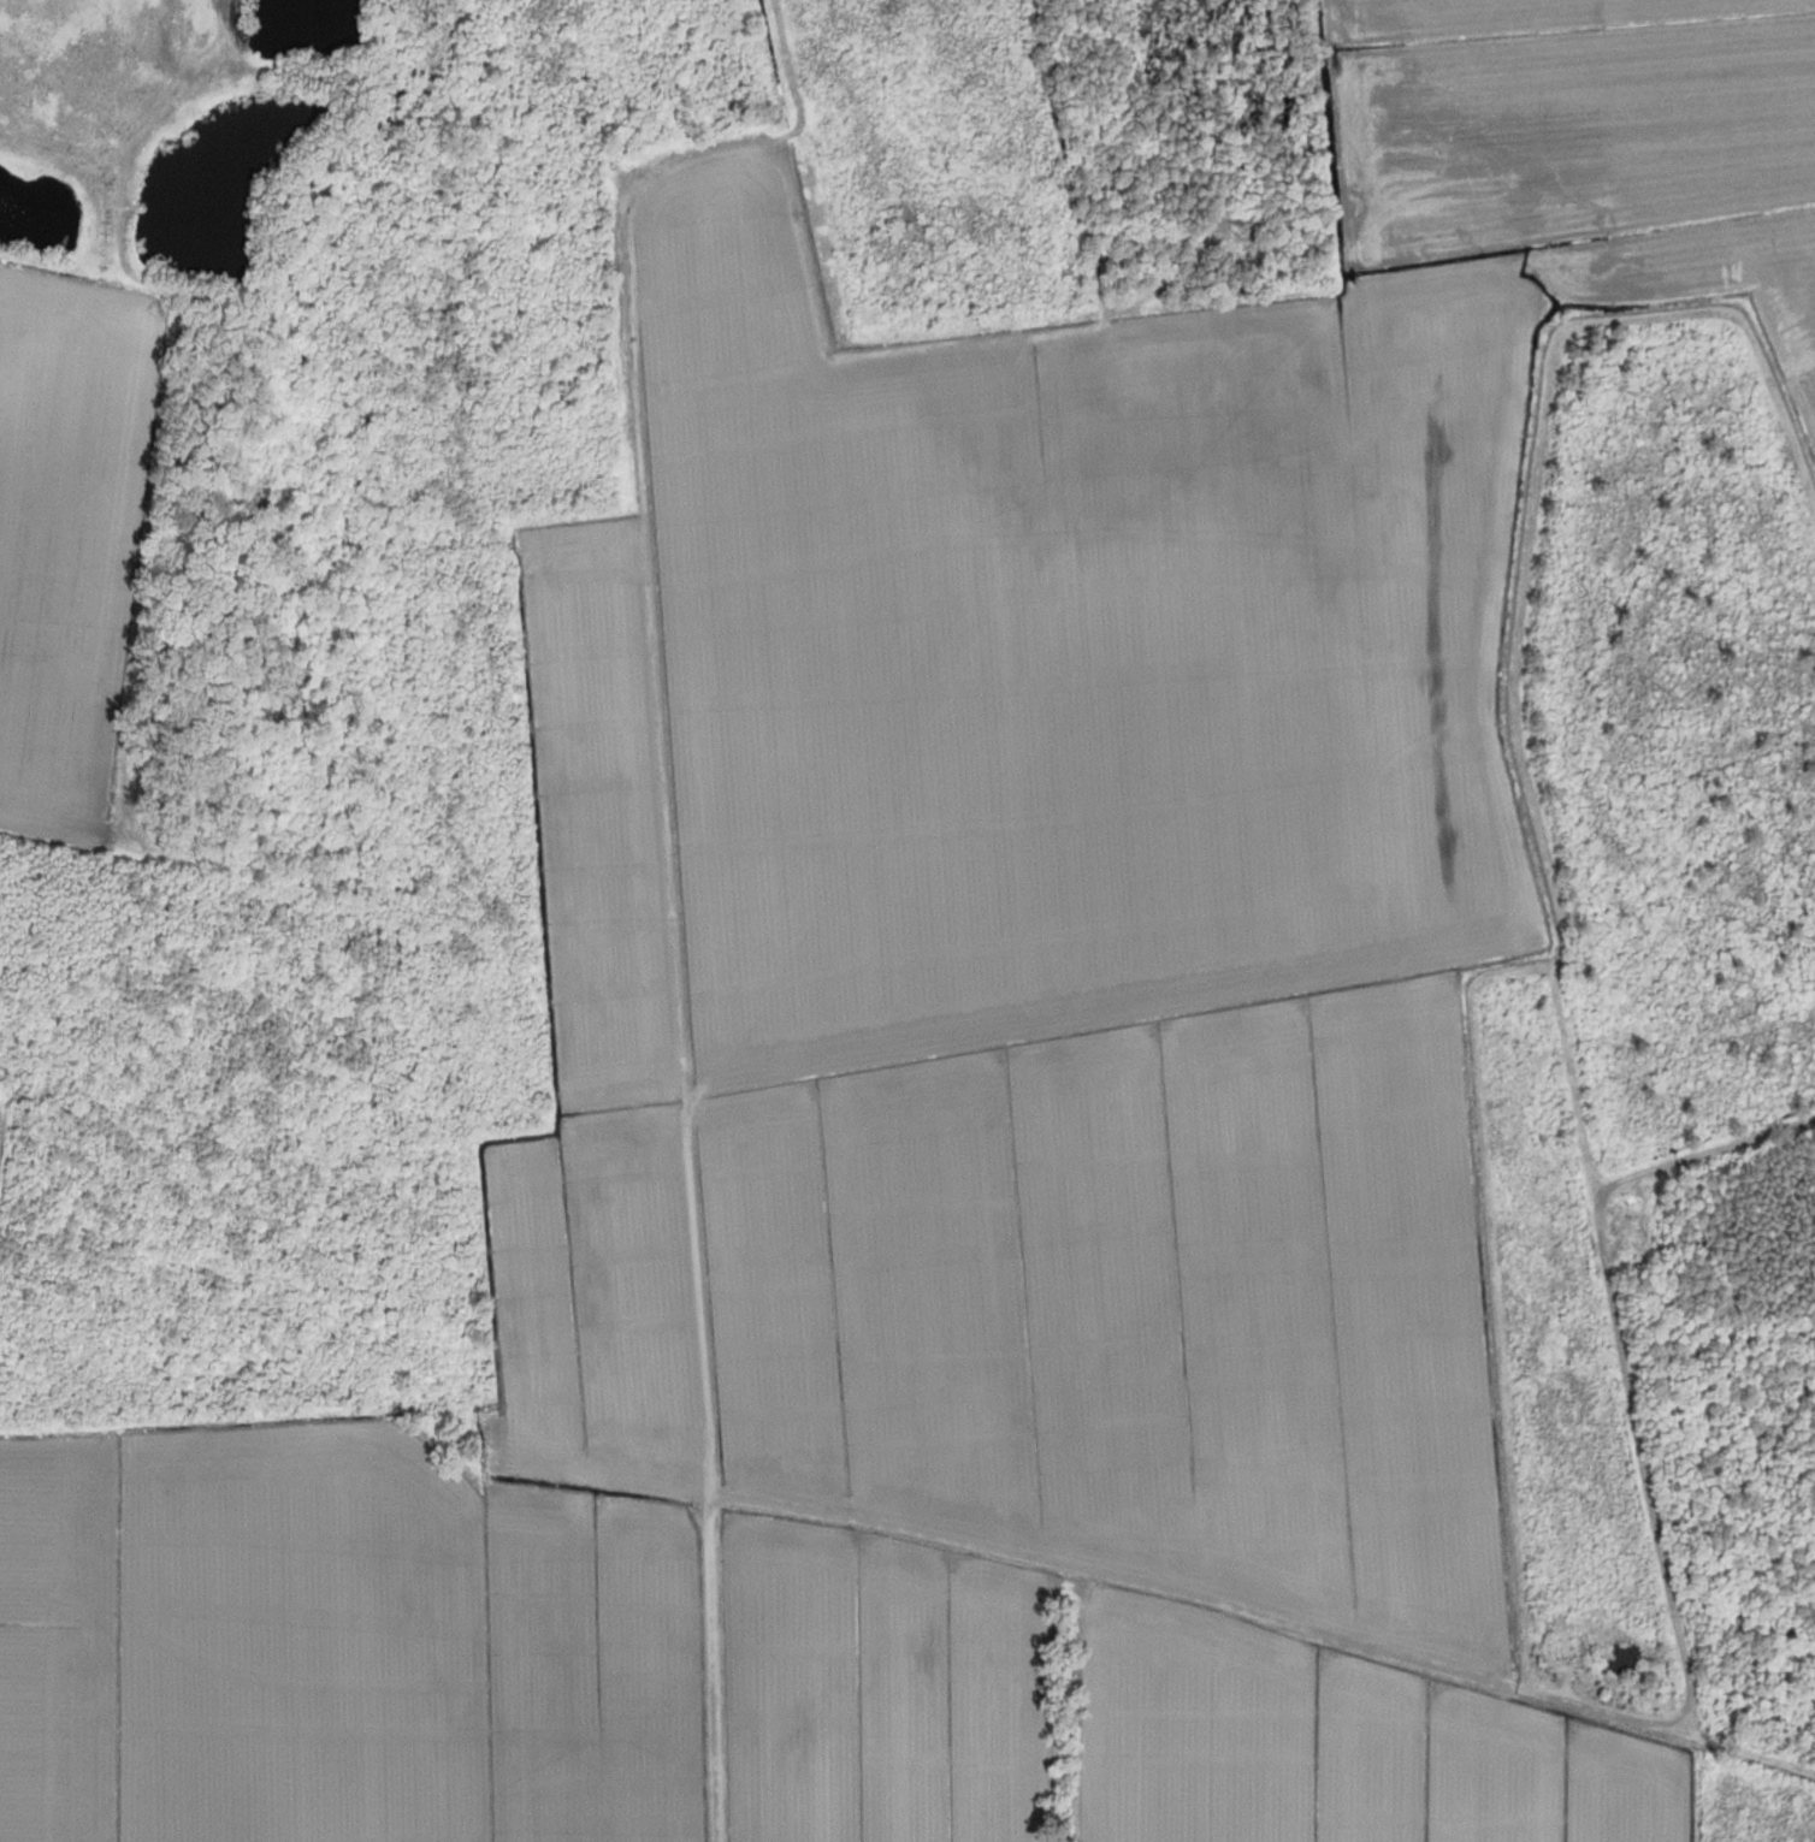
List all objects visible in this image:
building: (1627, 1231)

